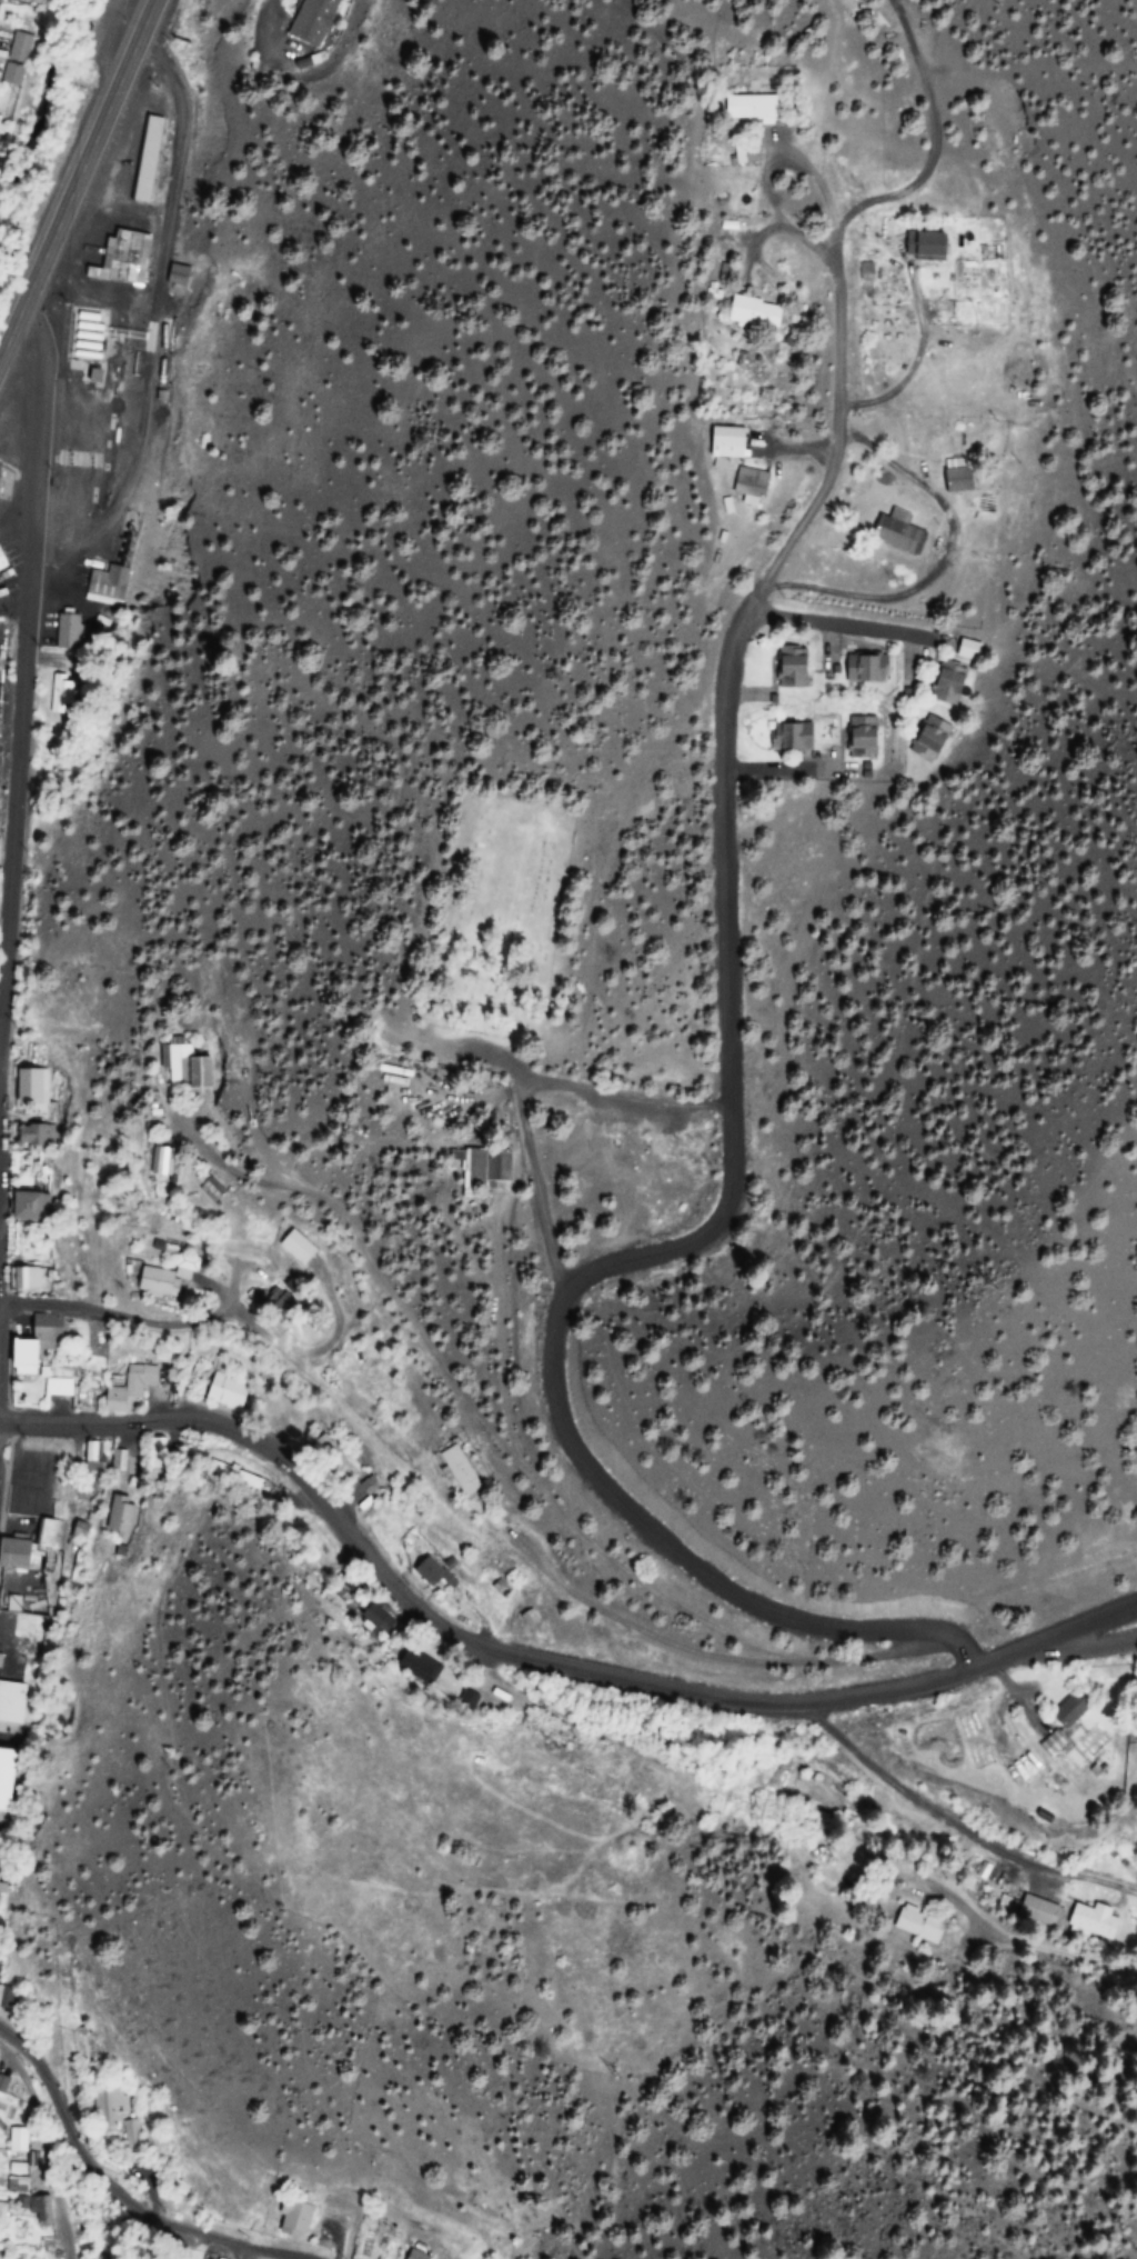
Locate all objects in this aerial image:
building: (11, 58)
building: (744, 108)
building: (144, 159)
road: (78, 177)
road: (819, 186)
road: (789, 232)
building: (919, 244)
building: (119, 259)
road: (834, 267)
building: (749, 312)
building: (94, 339)
road: (915, 359)
road: (798, 449)
building: (953, 476)
building: (747, 486)
building: (894, 531)
road: (33, 589)
road: (841, 628)
building: (789, 668)
building: (861, 669)
building: (940, 687)
building: (925, 736)
building: (794, 737)
building: (859, 738)
park: (503, 930)
building: (180, 1067)
building: (477, 1171)
building: (19, 1206)
road: (535, 1219)
building: (292, 1246)
road: (635, 1249)
building: (148, 1285)
road: (139, 1318)
road: (495, 1355)
building: (24, 1358)
building: (58, 1389)
building: (128, 1390)
building: (220, 1392)
road: (489, 1432)
building: (328, 1452)
road: (284, 1465)
building: (451, 1469)
building: (46, 1532)
building: (12, 1555)
building: (421, 1567)
building: (370, 1615)
road: (1095, 1645)
road: (701, 1653)
building: (416, 1663)
building: (1136, 1685)
road: (825, 1699)
building: (1064, 1708)
building: (1045, 1742)
road: (915, 1801)
building: (1038, 1910)
building: (1087, 1918)
building: (97, 2107)
road: (99, 2131)
building: (18, 2139)
road: (47, 2139)
building: (17, 2183)
building: (285, 2218)
road: (180, 2252)
road: (231, 2252)
building: (415, 2256)

